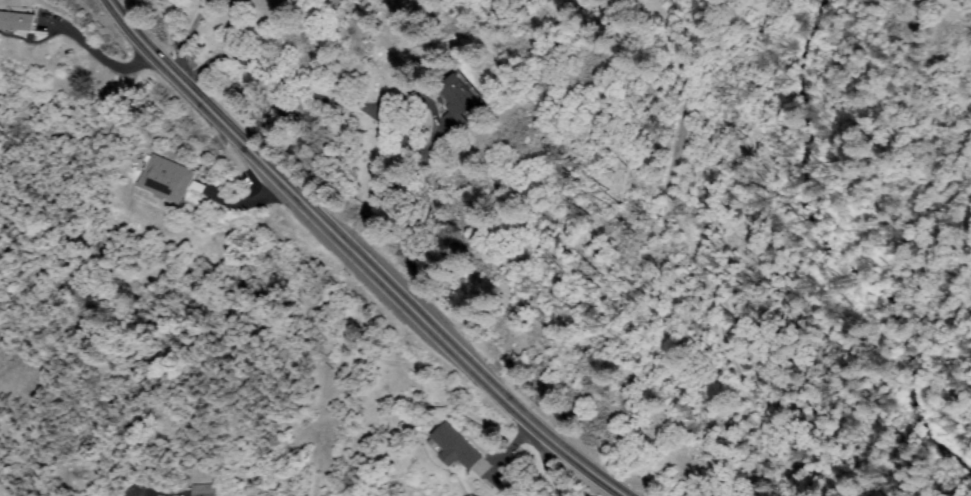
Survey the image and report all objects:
building: (16, 22)
building: (459, 101)
building: (166, 180)
road: (350, 262)
road: (689, 262)
building: (456, 448)
building: (203, 491)

